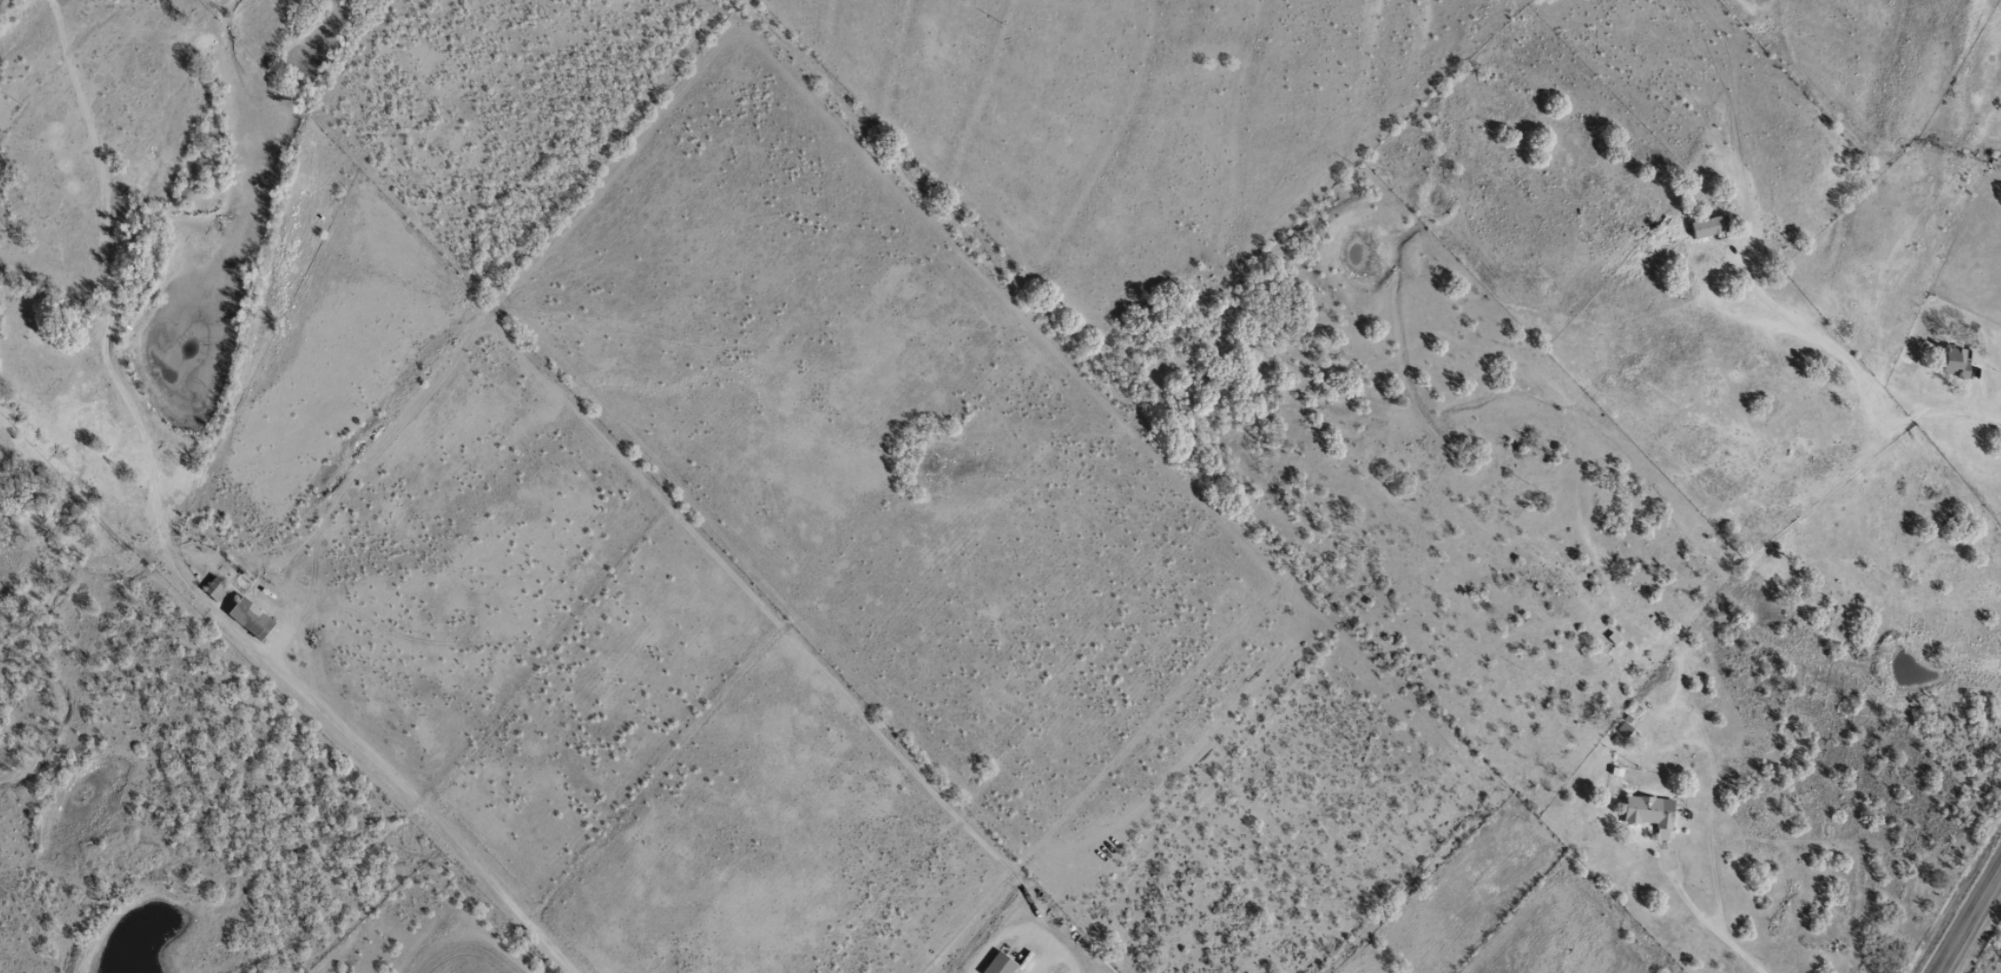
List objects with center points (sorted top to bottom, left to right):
building: (1708, 225)
building: (1959, 361)
building: (215, 589)
building: (251, 618)
building: (1612, 637)
building: (1649, 813)
road: (1967, 918)
crop: (477, 953)
building: (999, 964)

